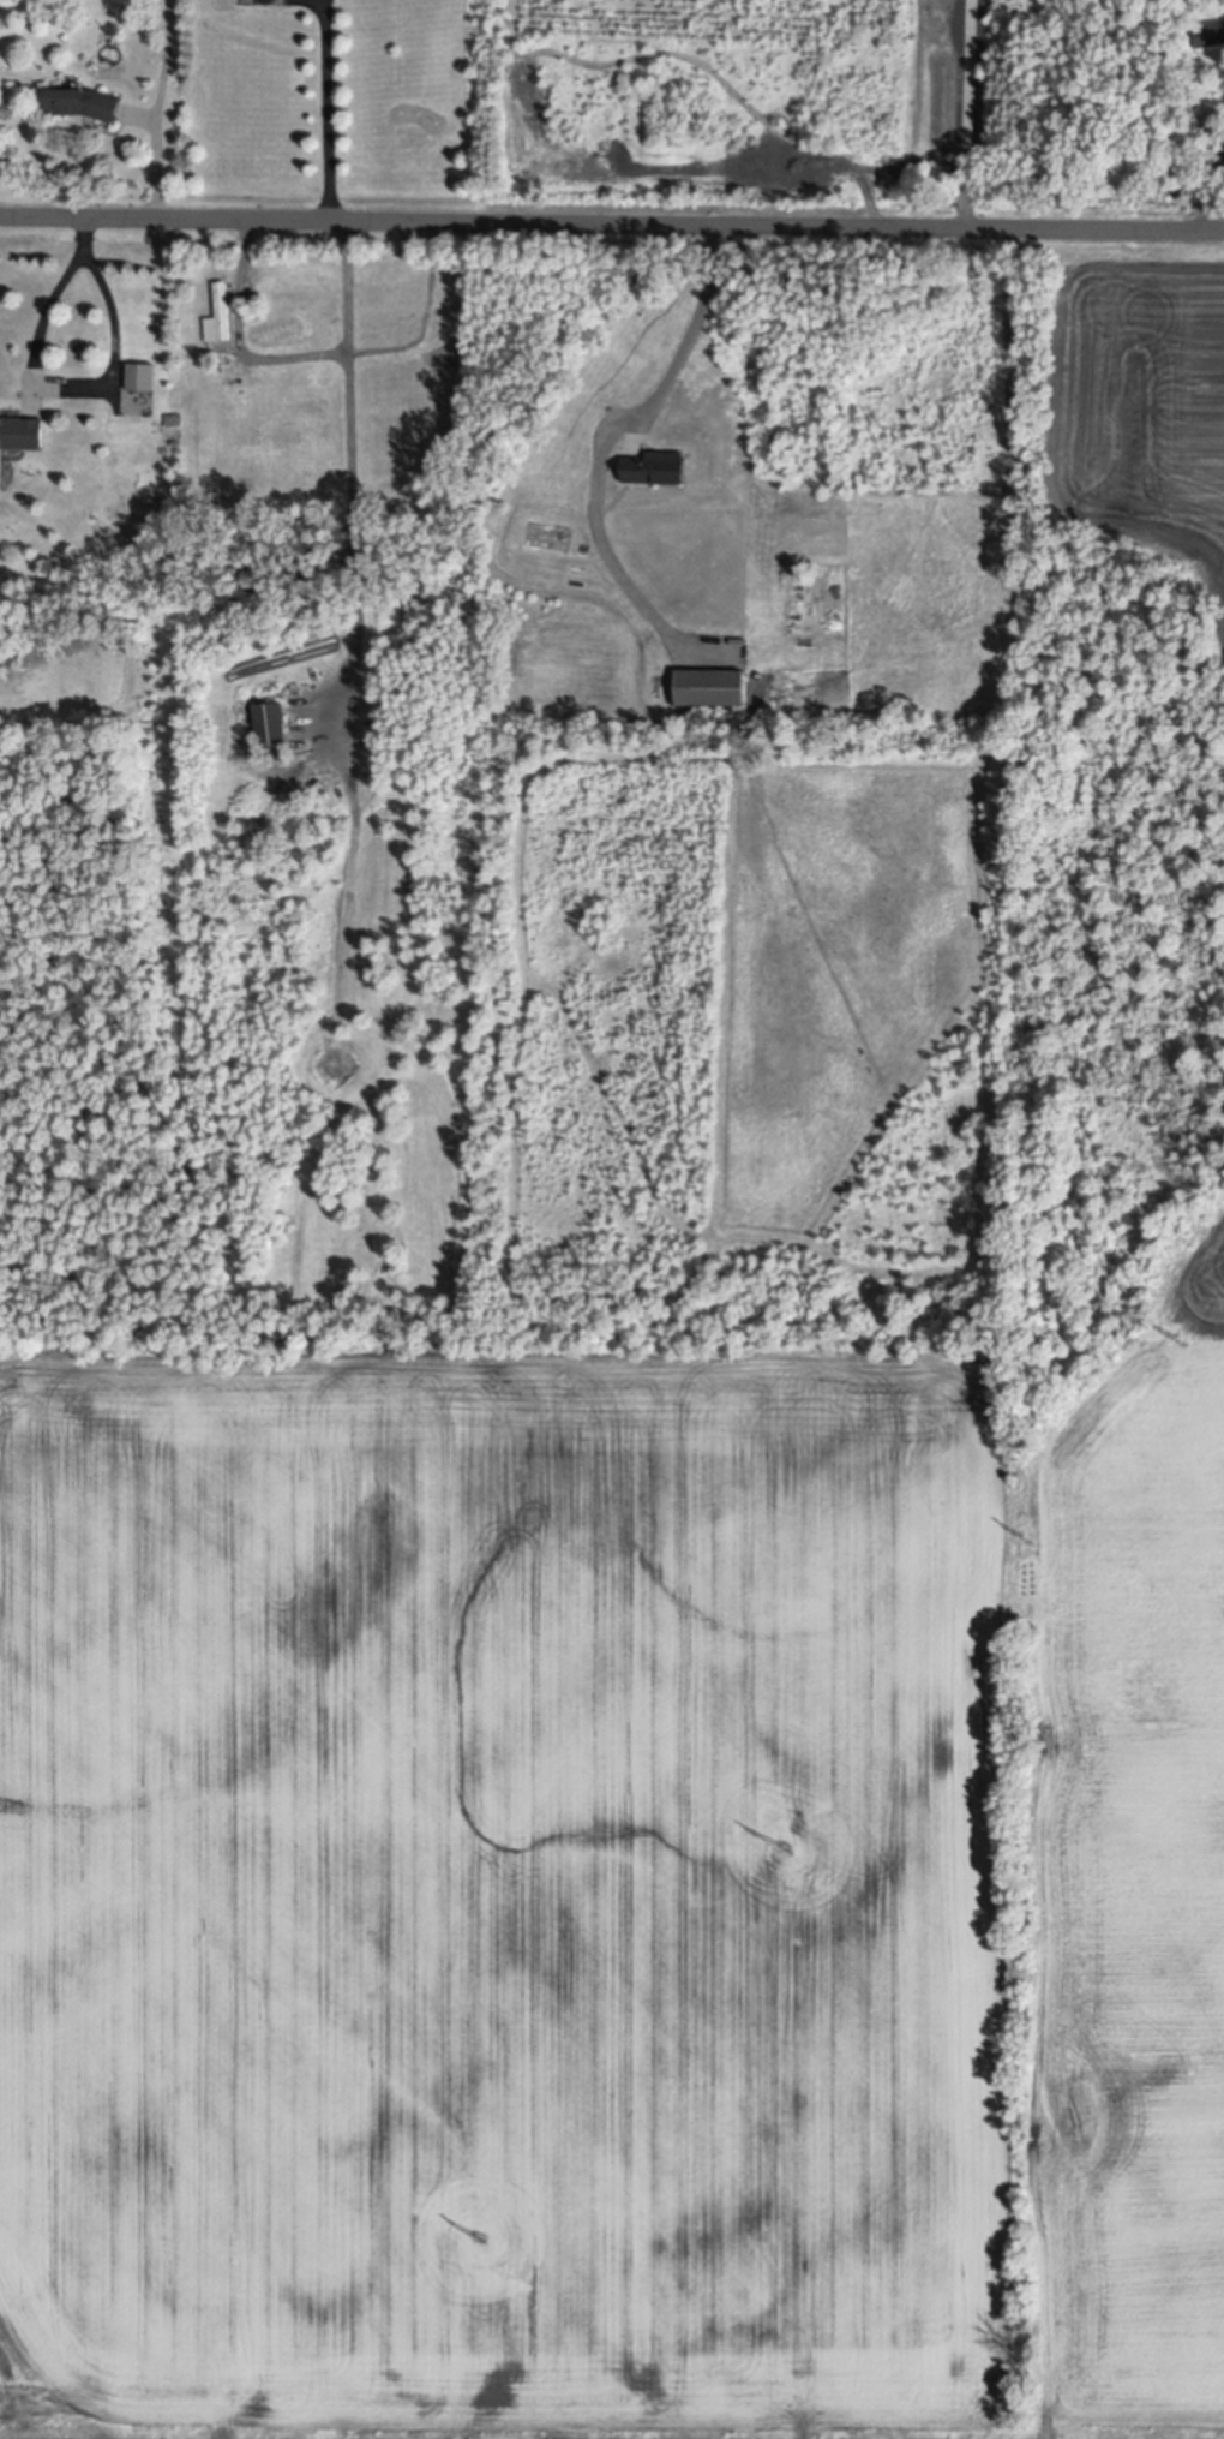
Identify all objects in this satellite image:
building: (1208, 37)
building: (84, 107)
road: (158, 108)
road: (328, 114)
road: (967, 114)
road: (1206, 192)
road: (612, 223)
building: (220, 319)
road: (689, 333)
road: (239, 339)
building: (140, 381)
road: (54, 383)
building: (22, 437)
road: (352, 456)
building: (656, 474)
building: (710, 694)
building: (265, 730)
quarry: (1124, 787)
building: (277, 1150)
power tower: (1182, 1341)
power tower: (1026, 1542)
power tower: (784, 1847)
power tower: (480, 2236)

